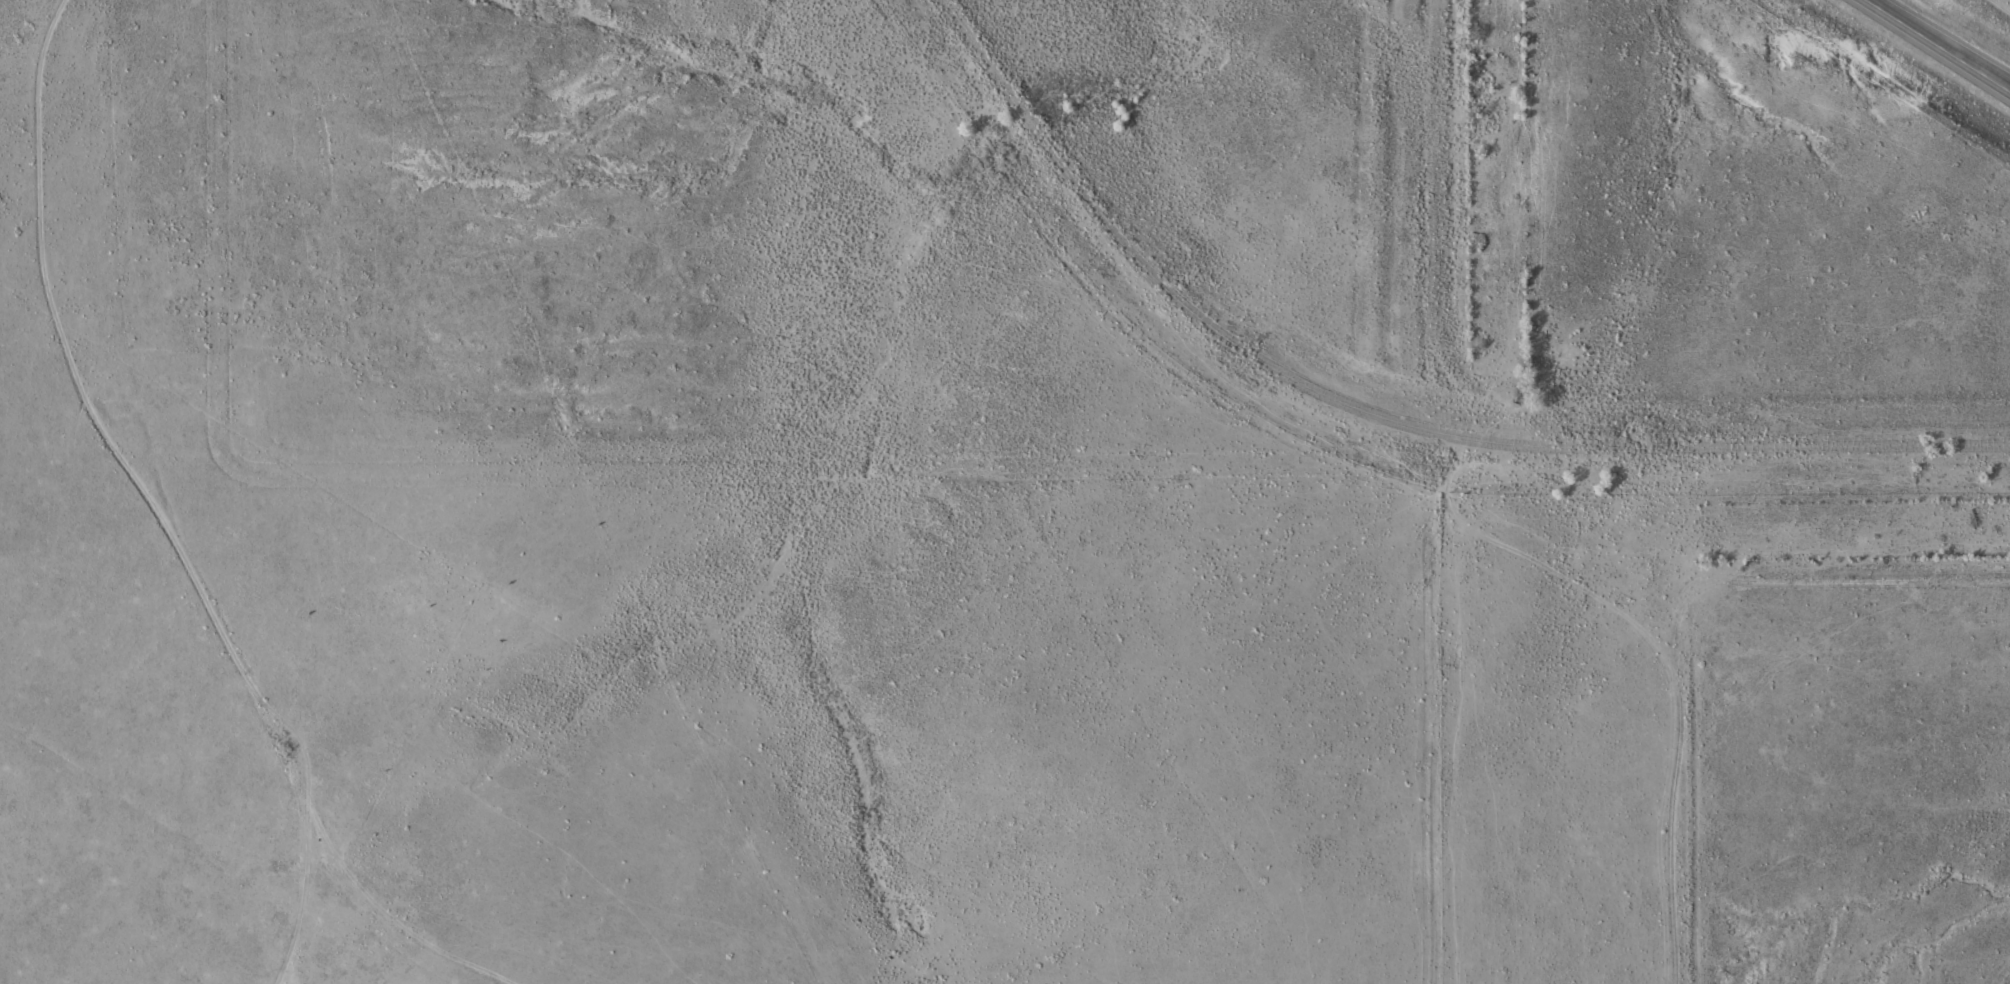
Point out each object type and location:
road: (12, 15)
road: (1941, 43)
road: (213, 675)

